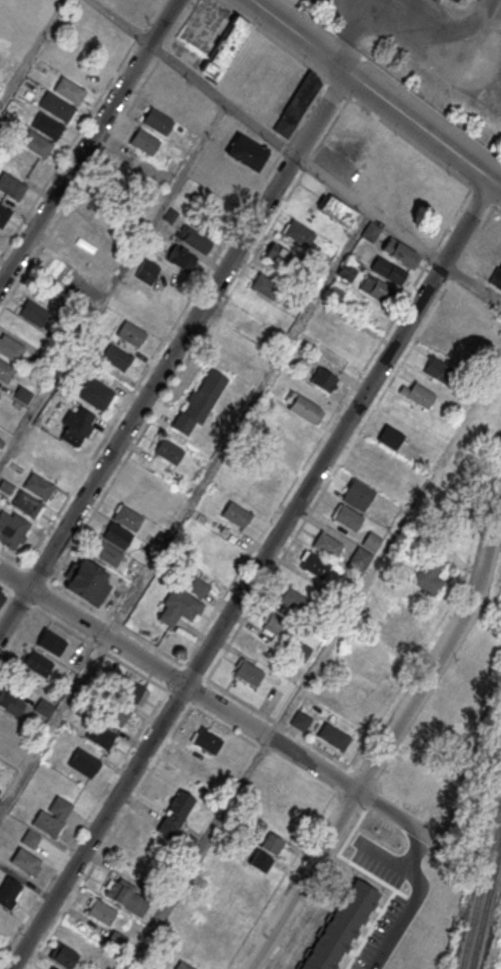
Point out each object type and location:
building: (457, 0)
building: (479, 0)
building: (454, 1)
building: (102, 36)
building: (224, 49)
building: (290, 65)
building: (83, 76)
road: (193, 77)
building: (68, 91)
road: (376, 93)
building: (180, 102)
building: (296, 104)
road: (360, 104)
building: (55, 107)
building: (157, 120)
building: (46, 126)
building: (144, 141)
road: (88, 142)
building: (35, 144)
building: (246, 152)
road: (332, 182)
building: (10, 186)
building: (338, 210)
building: (3, 215)
building: (370, 231)
building: (299, 233)
building: (194, 239)
building: (400, 252)
building: (280, 256)
building: (181, 258)
building: (147, 271)
building: (389, 271)
building: (496, 277)
road: (472, 280)
building: (340, 283)
building: (265, 286)
building: (375, 287)
building: (470, 304)
building: (33, 313)
building: (457, 320)
building: (130, 333)
building: (10, 348)
road: (173, 353)
building: (116, 357)
building: (5, 370)
building: (440, 371)
building: (323, 379)
road: (262, 384)
building: (0, 393)
building: (96, 393)
building: (420, 395)
building: (200, 401)
building: (303, 407)
building: (77, 425)
building: (391, 437)
building: (285, 446)
building: (167, 452)
building: (374, 453)
building: (48, 467)
building: (394, 482)
building: (6, 486)
building: (38, 486)
building: (360, 491)
building: (26, 503)
building: (236, 514)
building: (127, 516)
building: (347, 517)
building: (12, 529)
building: (116, 535)
building: (328, 545)
building: (108, 554)
building: (359, 560)
building: (315, 564)
road: (251, 575)
building: (428, 575)
building: (86, 581)
building: (197, 585)
building: (1, 596)
building: (292, 599)
building: (179, 606)
road: (30, 614)
building: (276, 626)
building: (402, 627)
building: (50, 642)
building: (301, 651)
road: (136, 653)
building: (37, 664)
road: (181, 664)
building: (248, 672)
road: (307, 678)
building: (131, 690)
building: (11, 703)
building: (300, 720)
road: (54, 724)
building: (100, 736)
building: (333, 736)
road: (389, 736)
building: (206, 740)
building: (84, 762)
road: (358, 794)
road: (324, 809)
building: (175, 814)
building: (52, 816)
road: (83, 823)
road: (109, 837)
building: (270, 842)
road: (199, 854)
building: (24, 860)
building: (260, 860)
building: (389, 867)
road: (409, 883)
building: (8, 891)
railway: (483, 891)
building: (126, 897)
railway: (487, 910)
building: (101, 912)
building: (350, 921)
building: (336, 927)
building: (63, 955)
building: (182, 965)
building: (55, 968)

